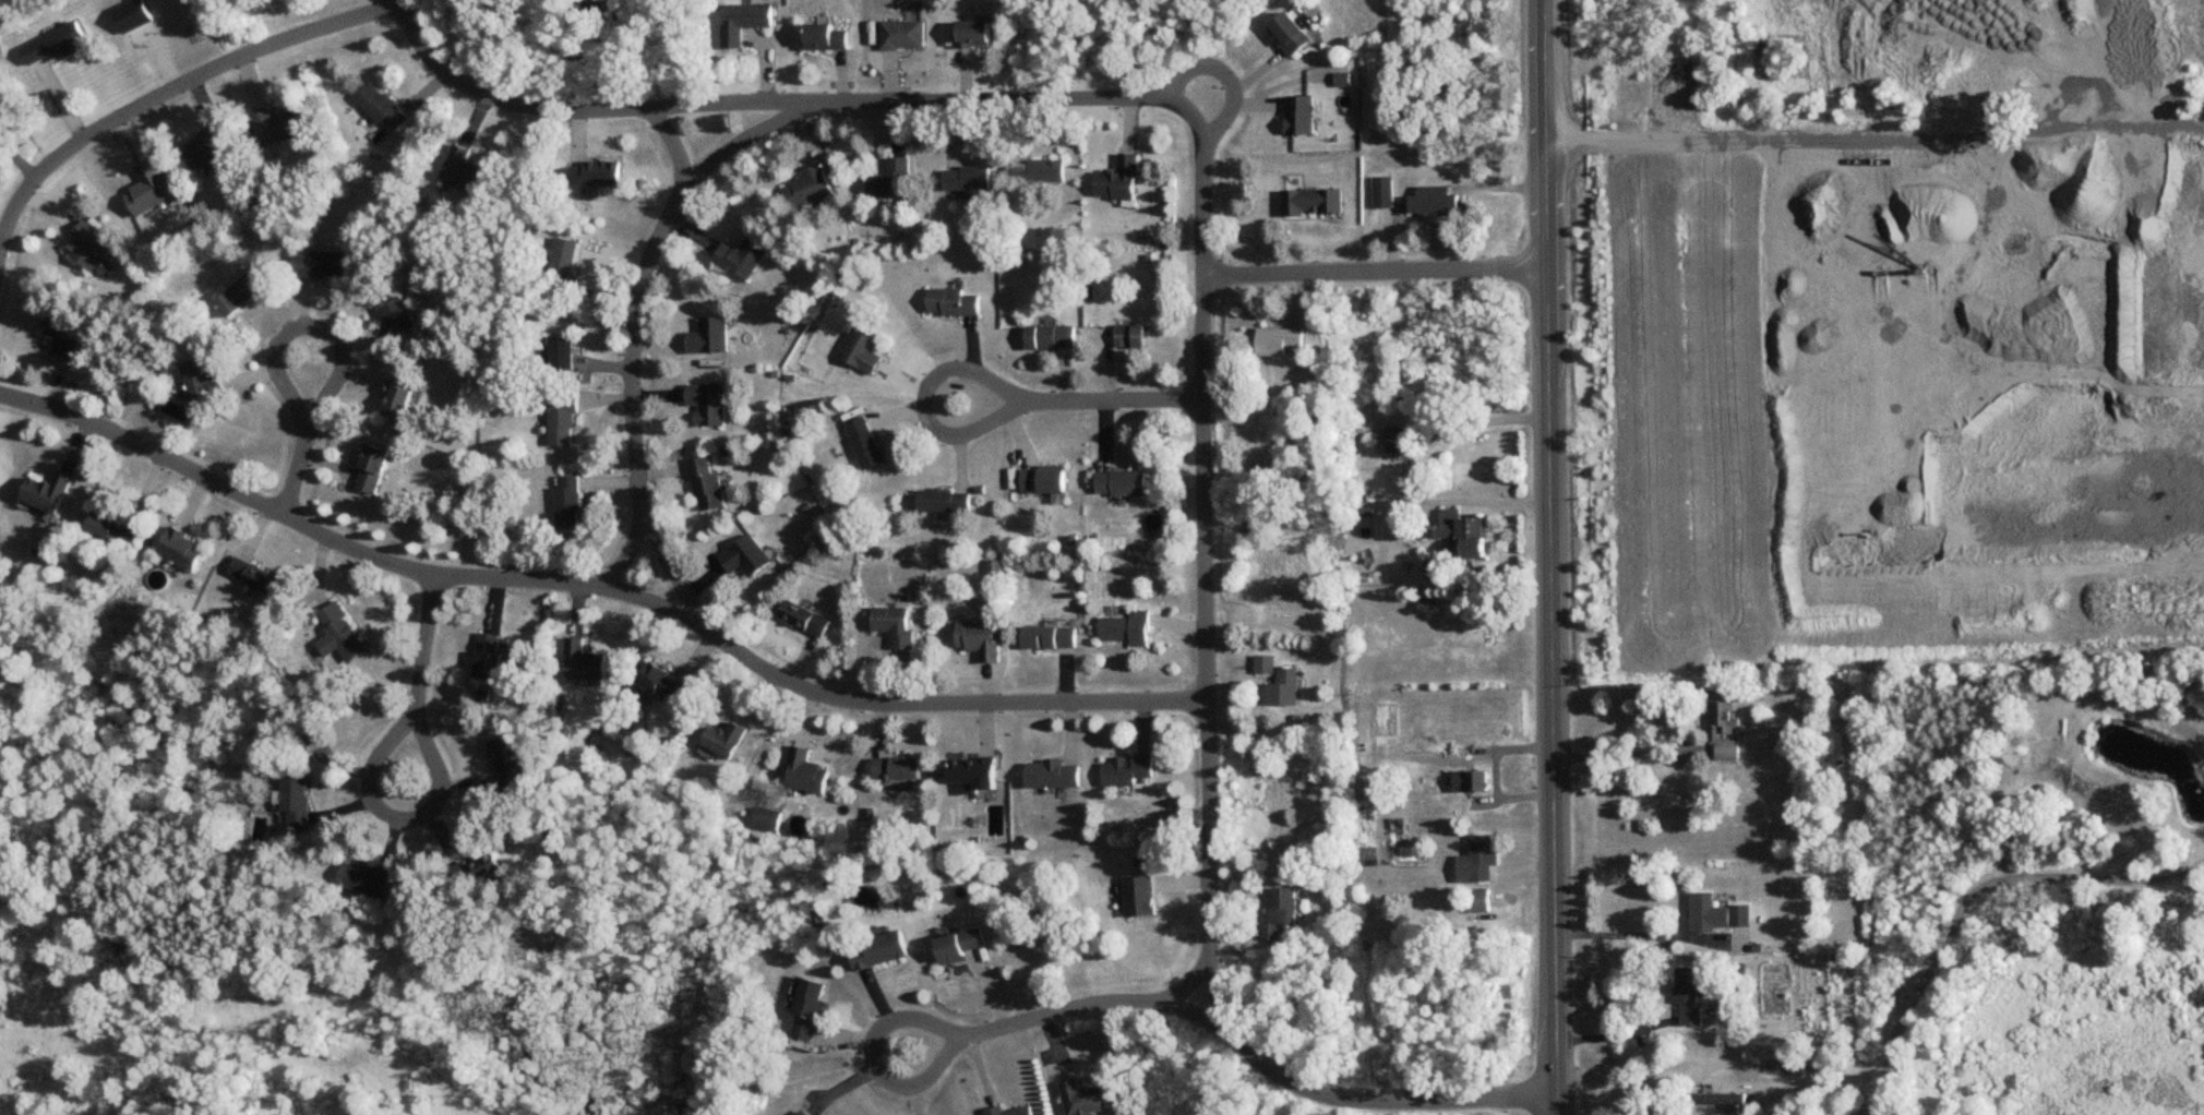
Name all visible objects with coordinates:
building: (743, 20)
building: (973, 32)
building: (1291, 32)
building: (902, 33)
building: (825, 35)
building: (53, 44)
building: (1787, 57)
road: (168, 95)
building: (383, 106)
road: (798, 106)
building: (1299, 113)
road: (1197, 116)
road: (1232, 116)
road: (1878, 121)
building: (274, 124)
road: (758, 135)
building: (207, 145)
building: (463, 169)
building: (1037, 169)
building: (592, 172)
building: (967, 178)
building: (1118, 178)
building: (890, 179)
building: (810, 185)
building: (147, 189)
building: (1382, 190)
building: (2166, 193)
building: (1435, 200)
building: (1310, 201)
building: (87, 244)
building: (2153, 254)
building: (742, 256)
building: (561, 262)
building: (320, 264)
road: (1380, 272)
building: (240, 292)
building: (953, 301)
building: (399, 315)
building: (58, 331)
building: (1128, 334)
building: (709, 335)
building: (1050, 335)
building: (1277, 339)
road: (274, 347)
road: (636, 347)
building: (861, 349)
building: (563, 352)
building: (201, 379)
building: (398, 401)
building: (708, 403)
road: (1085, 403)
building: (560, 420)
building: (1396, 439)
building: (865, 442)
building: (373, 468)
road: (1401, 472)
building: (1043, 479)
building: (1371, 481)
building: (1121, 482)
building: (707, 483)
building: (46, 492)
building: (944, 500)
building: (566, 501)
building: (110, 526)
building: (1463, 533)
building: (182, 549)
building: (746, 556)
road: (1555, 557)
road: (1210, 571)
building: (253, 574)
road: (682, 583)
road: (600, 590)
building: (805, 616)
building: (895, 624)
building: (1125, 626)
building: (339, 633)
building: (1049, 636)
building: (980, 637)
building: (489, 655)
building: (583, 659)
building: (1262, 664)
building: (664, 680)
building: (1283, 686)
building: (1721, 729)
building: (723, 738)
road: (1621, 751)
building: (508, 760)
road: (384, 763)
building: (896, 766)
building: (1126, 768)
building: (805, 770)
building: (974, 770)
building: (1051, 772)
building: (1469, 779)
building: (295, 798)
building: (766, 817)
building: (1475, 859)
building: (479, 867)
building: (363, 876)
road: (1967, 892)
building: (1139, 894)
building: (1278, 910)
building: (1715, 911)
road: (1629, 931)
building: (960, 943)
building: (879, 948)
building: (1686, 993)
building: (810, 1007)
road: (1615, 1030)
road: (979, 1033)
building: (1818, 1064)
road: (1614, 1078)
building: (1081, 1098)
building: (1713, 1098)
road: (1365, 1101)
building: (1008, 1110)
building: (802, 1112)

